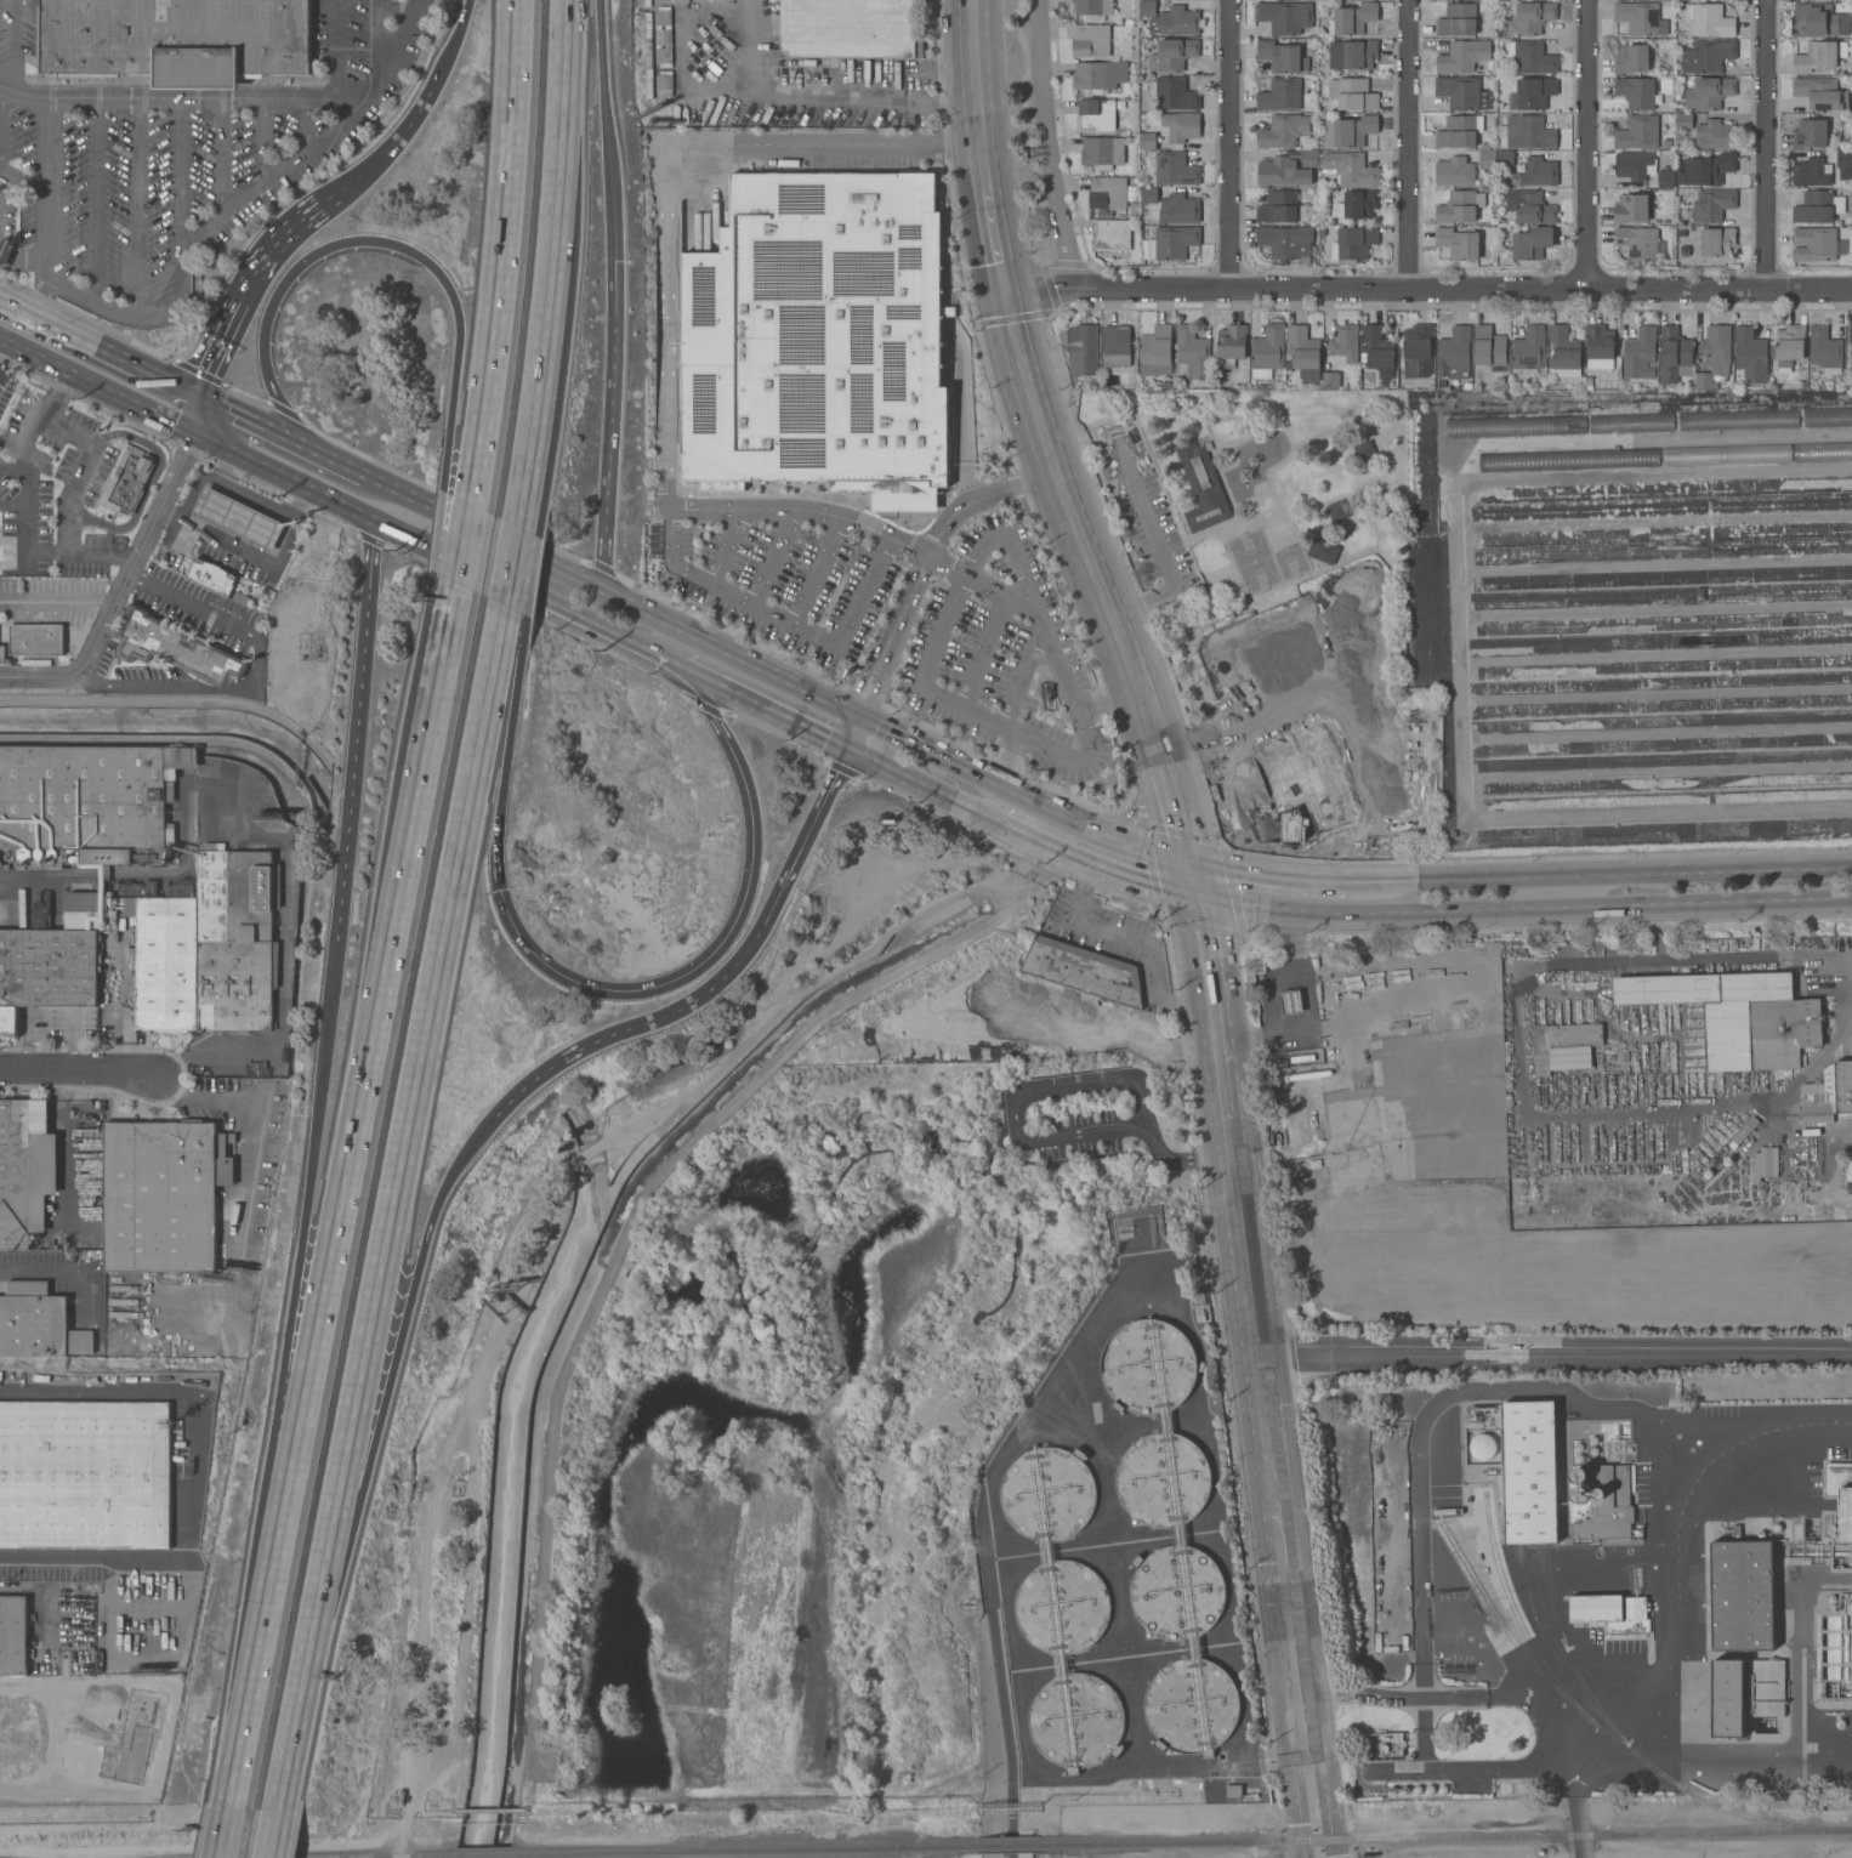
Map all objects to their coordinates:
building: (671, 0)
building: (717, 0)
building: (1092, 6)
building: (1285, 16)
building: (1533, 16)
building: (1637, 17)
building: (1171, 18)
building: (1353, 18)
building: (1456, 19)
building: (1709, 19)
building: (1814, 19)
building: (847, 28)
road: (376, 35)
building: (663, 36)
building: (176, 39)
building: (1095, 39)
road: (15, 45)
road: (451, 47)
road: (336, 50)
road: (398, 51)
building: (1172, 53)
building: (1352, 53)
building: (1710, 55)
building: (1819, 55)
building: (1282, 56)
building: (1464, 56)
building: (1530, 56)
building: (1631, 58)
building: (1100, 75)
building: (664, 85)
building: (1459, 91)
building: (1636, 91)
building: (1533, 92)
building: (1709, 92)
road: (820, 93)
road: (979, 93)
building: (1172, 93)
building: (1280, 93)
building: (1353, 93)
building: (1820, 93)
road: (1, 112)
building: (1098, 114)
building: (1683, 120)
road: (307, 127)
building: (1180, 127)
road: (606, 130)
building: (1283, 130)
building: (1351, 131)
building: (1458, 131)
building: (1529, 131)
building: (1638, 132)
building: (1714, 133)
building: (1810, 133)
road: (330, 135)
building: (1148, 141)
road: (265, 143)
road: (1232, 144)
road: (1410, 144)
road: (1589, 144)
road: (1768, 144)
road: (1049, 146)
road: (386, 150)
building: (1102, 152)
building: (1487, 157)
building: (1310, 158)
building: (1505, 158)
building: (1845, 159)
road: (221, 160)
road: (660, 165)
building: (1635, 165)
building: (1350, 167)
building: (1175, 169)
building: (1711, 169)
building: (1283, 171)
building: (1454, 171)
building: (1535, 171)
building: (1811, 171)
road: (22, 174)
building: (1665, 178)
road: (178, 181)
road: (45, 189)
building: (1107, 192)
building: (1149, 194)
road: (97, 199)
building: (1358, 204)
building: (1712, 204)
building: (1278, 206)
building: (1529, 206)
building: (1818, 206)
building: (1458, 208)
building: (1631, 208)
road: (138, 209)
building: (1180, 209)
road: (296, 223)
building: (1110, 234)
road: (999, 238)
road: (374, 242)
building: (1171, 242)
building: (1288, 242)
building: (1533, 242)
building: (1638, 242)
building: (1714, 242)
building: (1354, 243)
building: (1459, 243)
building: (1814, 243)
road: (507, 252)
road: (553, 266)
traffic signals: (1009, 290)
road: (1430, 290)
road: (228, 323)
building: (819, 339)
building: (1848, 342)
building: (1345, 343)
road: (97, 345)
building: (1117, 345)
building: (1232, 345)
building: (1790, 346)
building: (1303, 347)
building: (1416, 347)
building: (1600, 347)
building: (1081, 348)
building: (1490, 348)
building: (1529, 348)
building: (1157, 350)
building: (1825, 350)
building: (1193, 351)
building: (1267, 351)
building: (1379, 351)
building: (1455, 352)
building: (1564, 352)
building: (1641, 353)
building: (1675, 354)
building: (1715, 354)
building: (1750, 354)
building: (1331, 380)
road: (95, 385)
traffic signals: (194, 392)
road: (193, 411)
building: (1828, 416)
road: (38, 419)
building: (1738, 419)
road: (256, 422)
building: (1631, 422)
road: (609, 425)
building: (1516, 426)
traffic signals: (192, 432)
building: (1365, 450)
building: (1823, 450)
road: (538, 453)
building: (1727, 454)
building: (1569, 459)
road: (341, 464)
road: (12, 467)
road: (283, 476)
building: (129, 479)
road: (203, 479)
building: (1201, 485)
road: (25, 487)
road: (979, 498)
road: (68, 500)
road: (12, 505)
road: (780, 508)
road: (1143, 510)
parking lot: (1146, 510)
building: (1337, 510)
road: (1074, 512)
building: (239, 517)
road: (445, 532)
road: (482, 532)
road: (467, 545)
road: (725, 546)
road: (25, 547)
building: (1323, 550)
road: (252, 557)
road: (772, 557)
road: (927, 557)
road: (515, 570)
road: (817, 573)
building: (211, 575)
road: (529, 576)
road: (119, 587)
road: (996, 591)
road: (526, 596)
road: (46, 600)
road: (183, 602)
park: (1282, 607)
road: (899, 613)
road: (780, 621)
parking lot: (915, 627)
building: (36, 638)
building: (174, 646)
road: (979, 649)
building: (2, 653)
road: (731, 653)
road: (432, 670)
road: (874, 671)
road: (1018, 674)
road: (192, 688)
road: (1108, 699)
road: (149, 700)
road: (761, 711)
traffic signals: (864, 718)
road: (846, 721)
road: (854, 735)
road: (354, 745)
traffic signals: (846, 754)
road: (507, 756)
road: (1086, 756)
road: (1009, 757)
road: (924, 790)
road: (1146, 794)
road: (1027, 795)
road: (1175, 796)
building: (86, 803)
road: (808, 831)
road: (1050, 848)
traffic signals: (1194, 863)
road: (1635, 874)
road: (1271, 875)
road: (1197, 881)
road: (1382, 882)
road: (1149, 888)
traffic signals: (501, 894)
traffic signals: (1200, 900)
road: (5, 907)
building: (85, 910)
road: (1524, 913)
road: (726, 934)
building: (234, 939)
road: (1136, 942)
building: (161, 958)
road: (1689, 959)
building: (46, 970)
building: (1084, 970)
building: (1293, 1001)
road: (118, 1004)
road: (1217, 1010)
road: (1310, 1015)
building: (1738, 1015)
road: (635, 1027)
building: (1563, 1046)
road: (275, 1047)
road: (76, 1070)
road: (1076, 1089)
building: (1829, 1093)
parking lot: (1075, 1116)
road: (255, 1127)
road: (1080, 1131)
road: (408, 1147)
road: (592, 1153)
road: (1180, 1160)
building: (1848, 1165)
building: (24, 1170)
road: (343, 1193)
building: (163, 1194)
road: (21, 1271)
building: (1198, 1296)
building: (38, 1322)
road: (1080, 1347)
road: (1556, 1352)
building: (1149, 1366)
road: (285, 1385)
road: (1498, 1391)
road: (381, 1400)
building: (1482, 1447)
road: (198, 1465)
building: (1530, 1471)
building: (1579, 1473)
building: (85, 1475)
building: (1163, 1475)
road: (1277, 1489)
building: (1049, 1493)
building: (1579, 1494)
building: (1841, 1495)
building: (1607, 1504)
wastewater plant: (1117, 1556)
wastewater plant: (1591, 1569)
building: (1176, 1591)
railway: (1550, 1593)
building: (1742, 1593)
building: (1062, 1606)
building: (1610, 1612)
railway: (1521, 1623)
building: (13, 1635)
railway: (1555, 1654)
railway: (1539, 1669)
building: (1767, 1688)
road: (999, 1691)
road: (1512, 1694)
building: (1727, 1697)
building: (1191, 1705)
building: (1076, 1720)
road: (1424, 1732)
road: (292, 1743)
railway: (1638, 1751)
road: (1674, 1755)
road: (1498, 1766)
building: (1233, 1790)
road: (226, 1830)
road: (274, 1830)
railway: (1447, 1839)
railway: (1006, 1845)
railway: (1824, 1847)
railway: (744, 1850)
railway: (487, 1854)
railway: (367, 1856)

